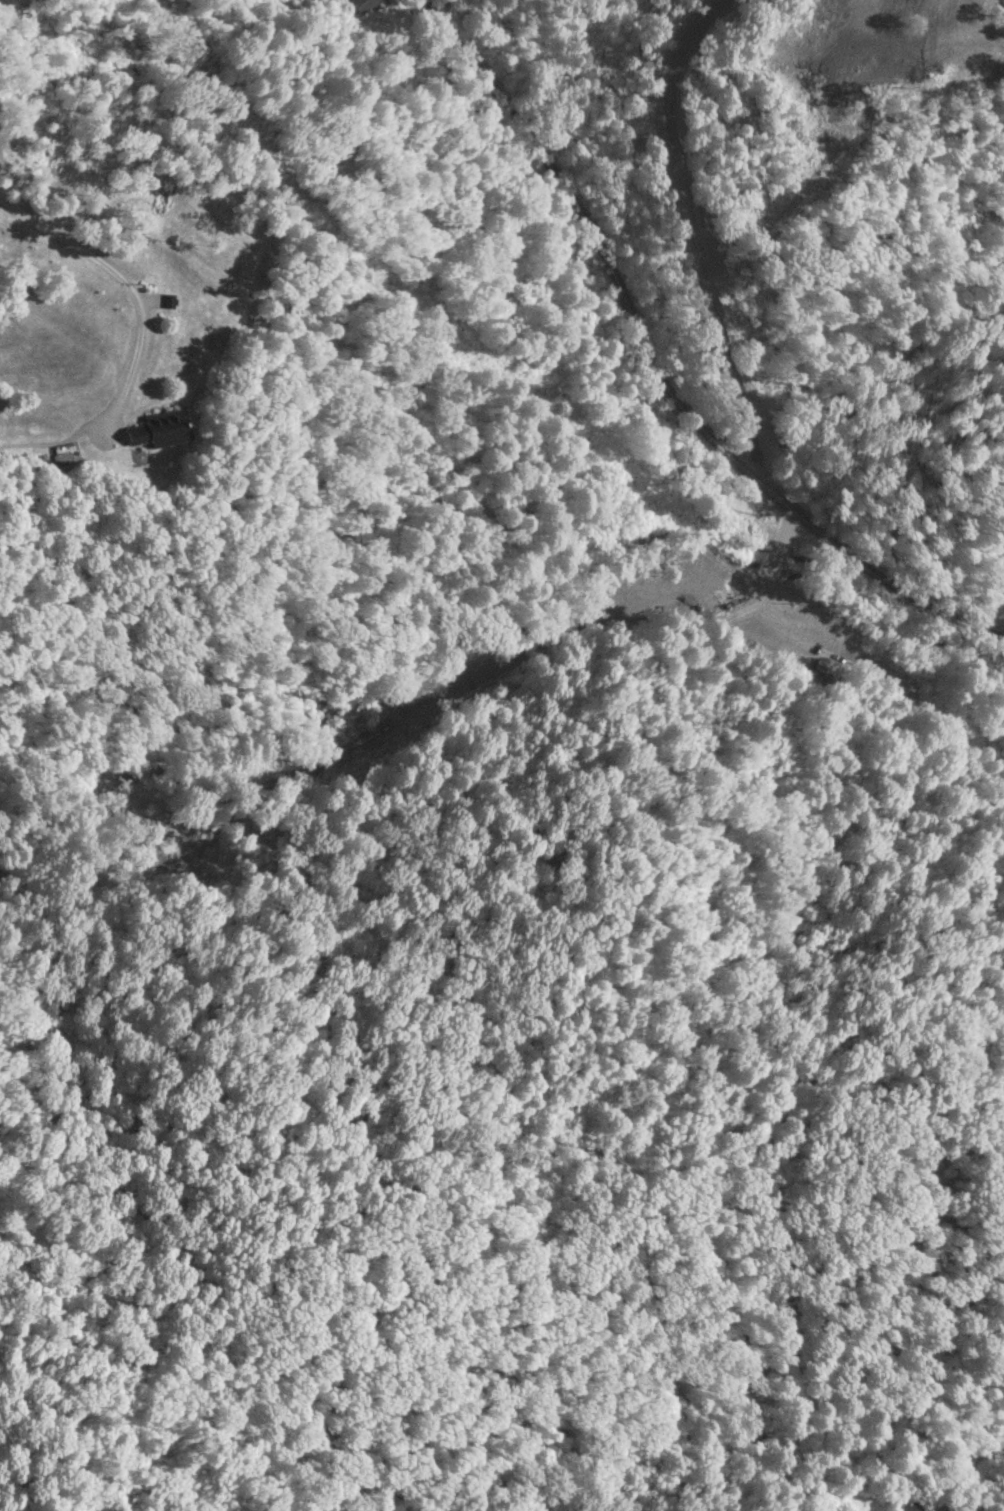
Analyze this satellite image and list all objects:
building: (363, 5)
building: (169, 301)
road: (655, 372)
building: (159, 429)
building: (907, 1506)

